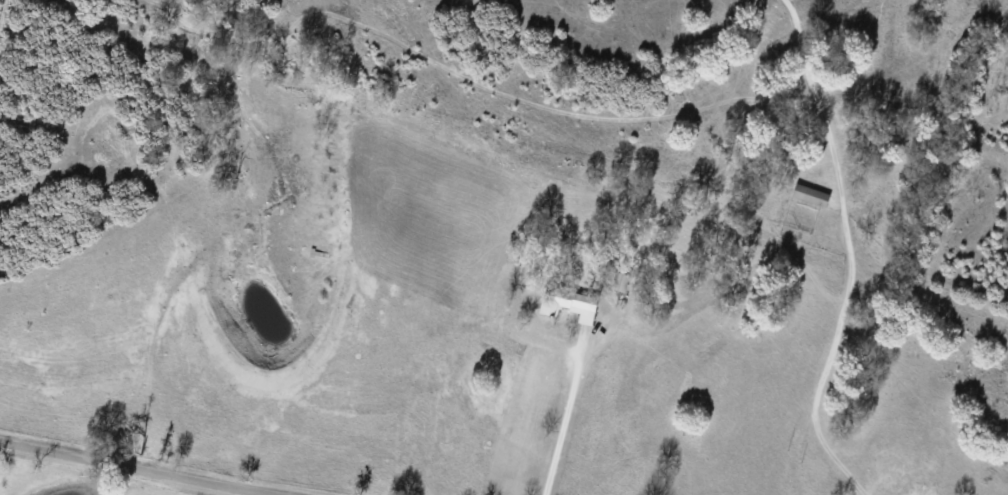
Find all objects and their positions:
building: (808, 194)
road: (838, 275)
building: (617, 281)
building: (566, 304)
road: (56, 482)

